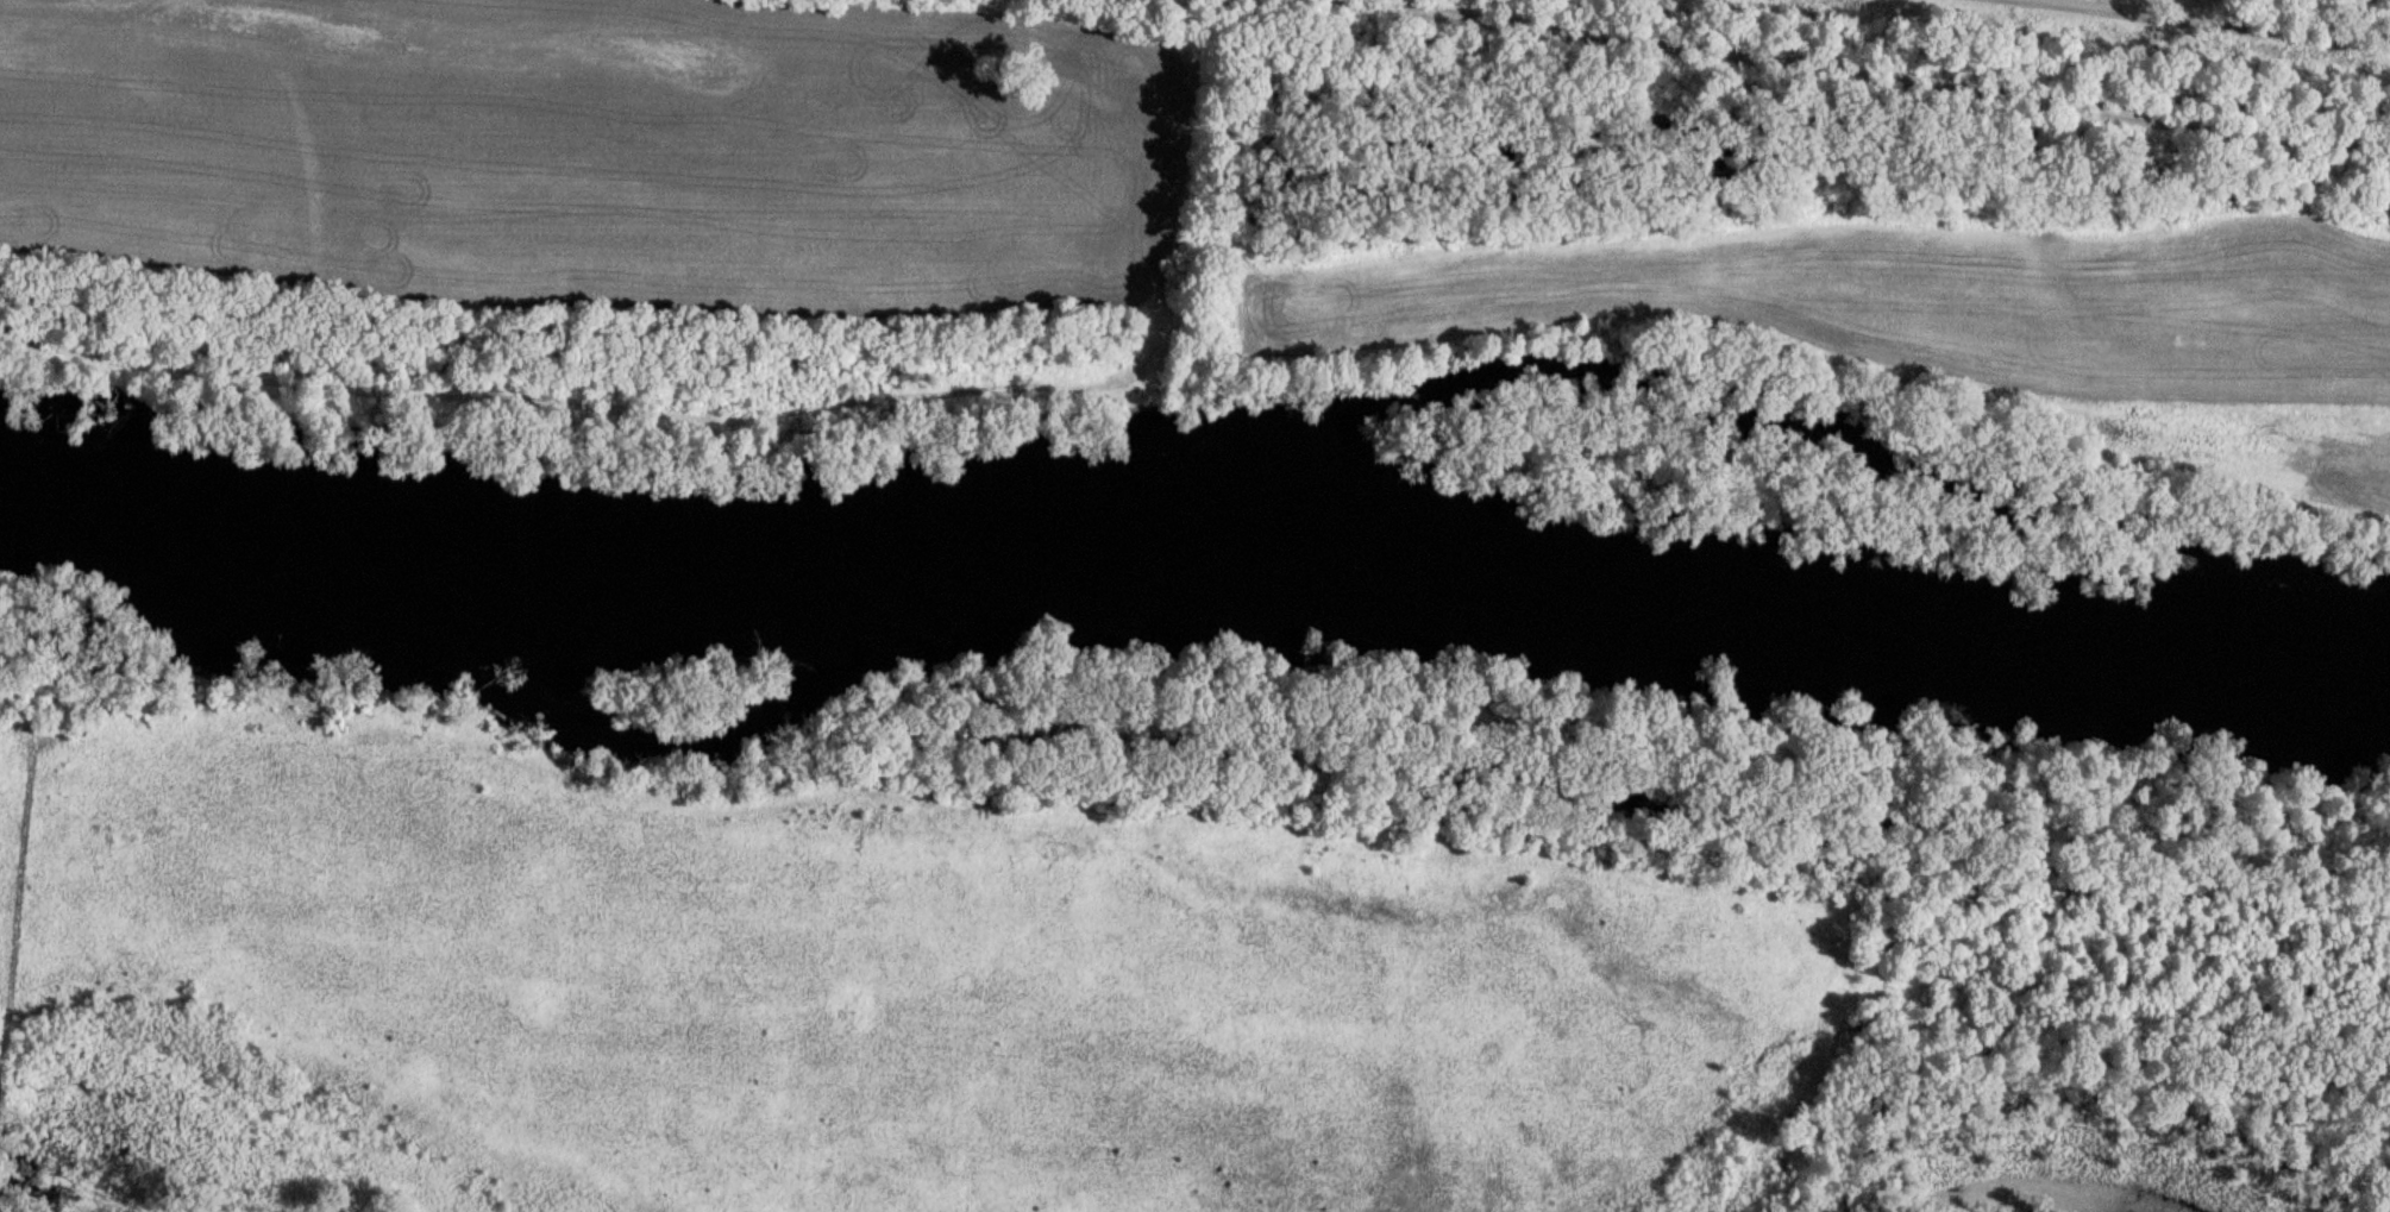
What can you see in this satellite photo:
road: (2181, 24)
road: (1823, 74)
river: (1194, 572)

